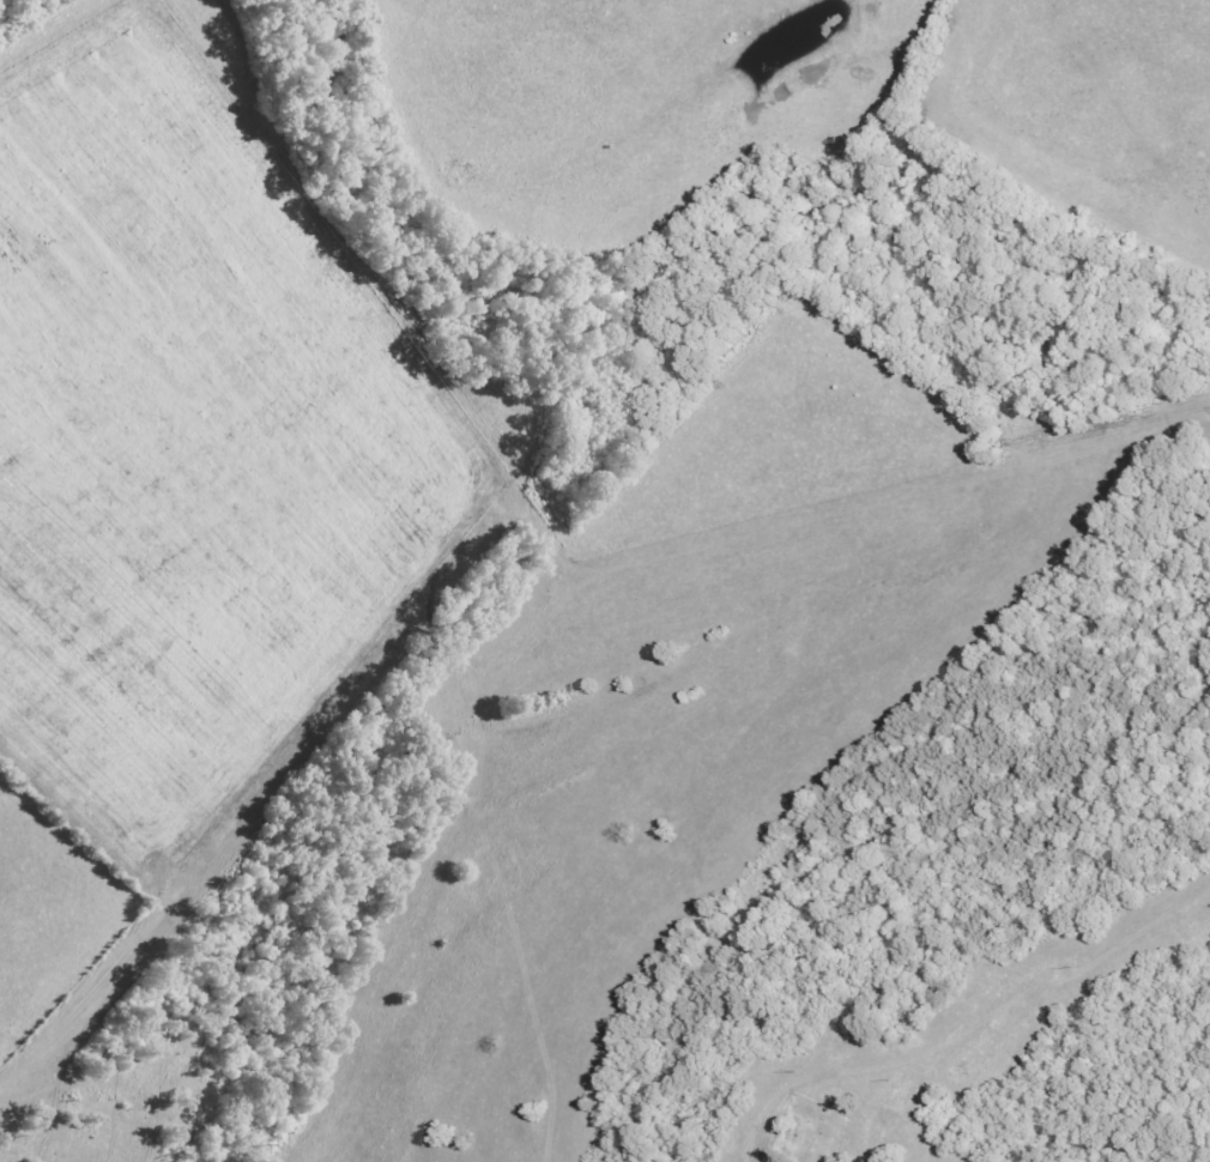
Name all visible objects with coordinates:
park: (805, 1133)

